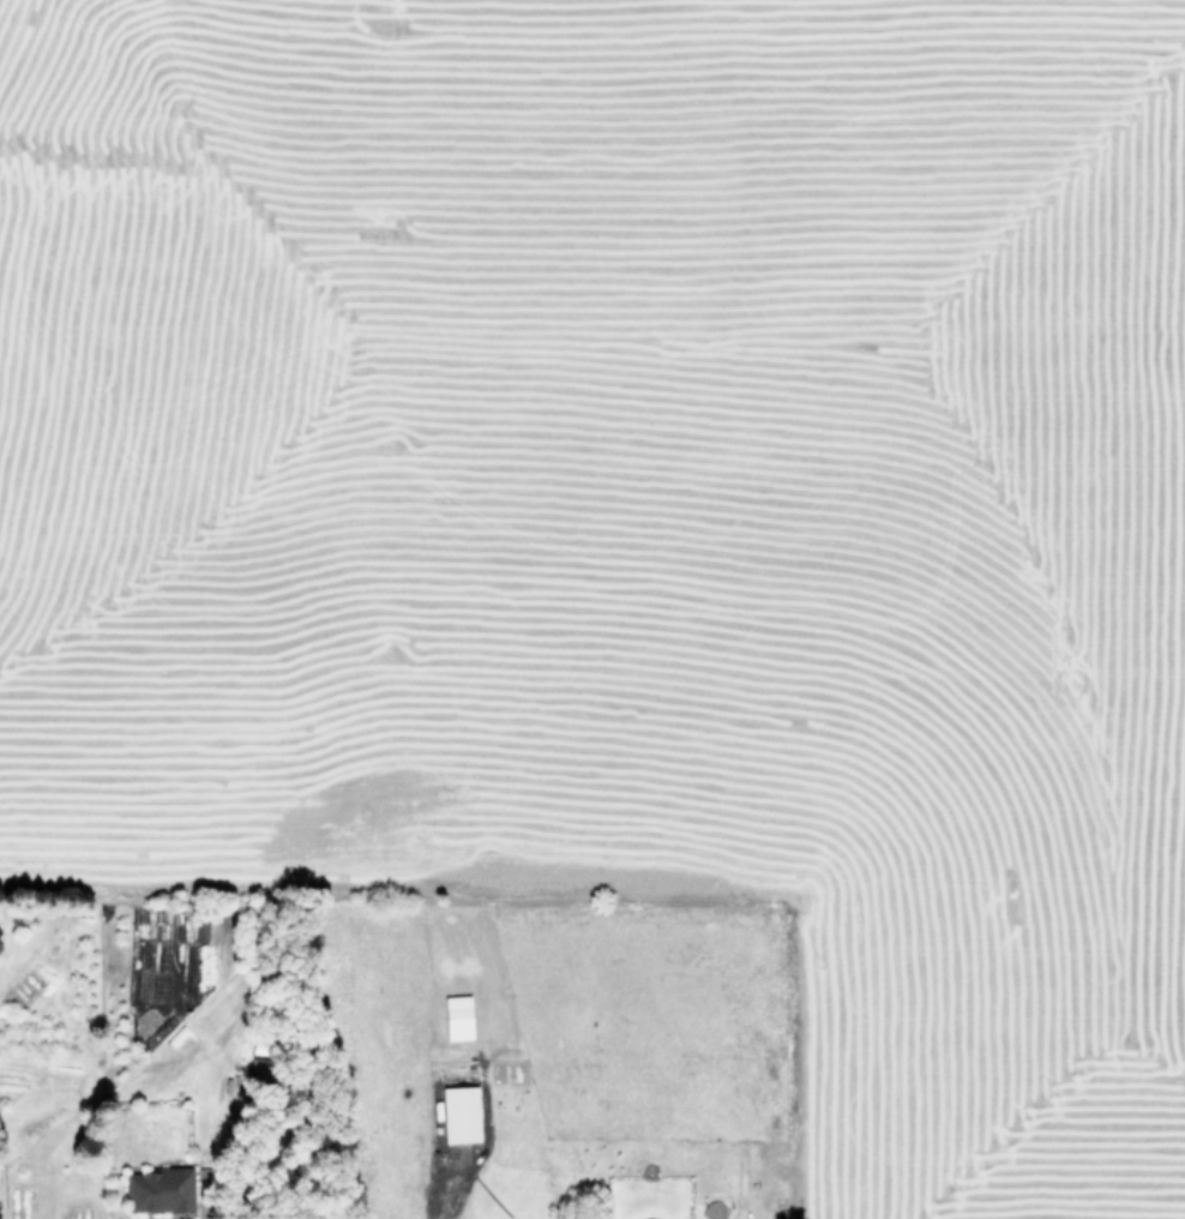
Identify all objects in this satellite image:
crop: (592, 609)
building: (0, 930)
building: (0, 945)
building: (459, 1113)
building: (160, 1190)
road: (446, 1194)
road: (1, 1195)

